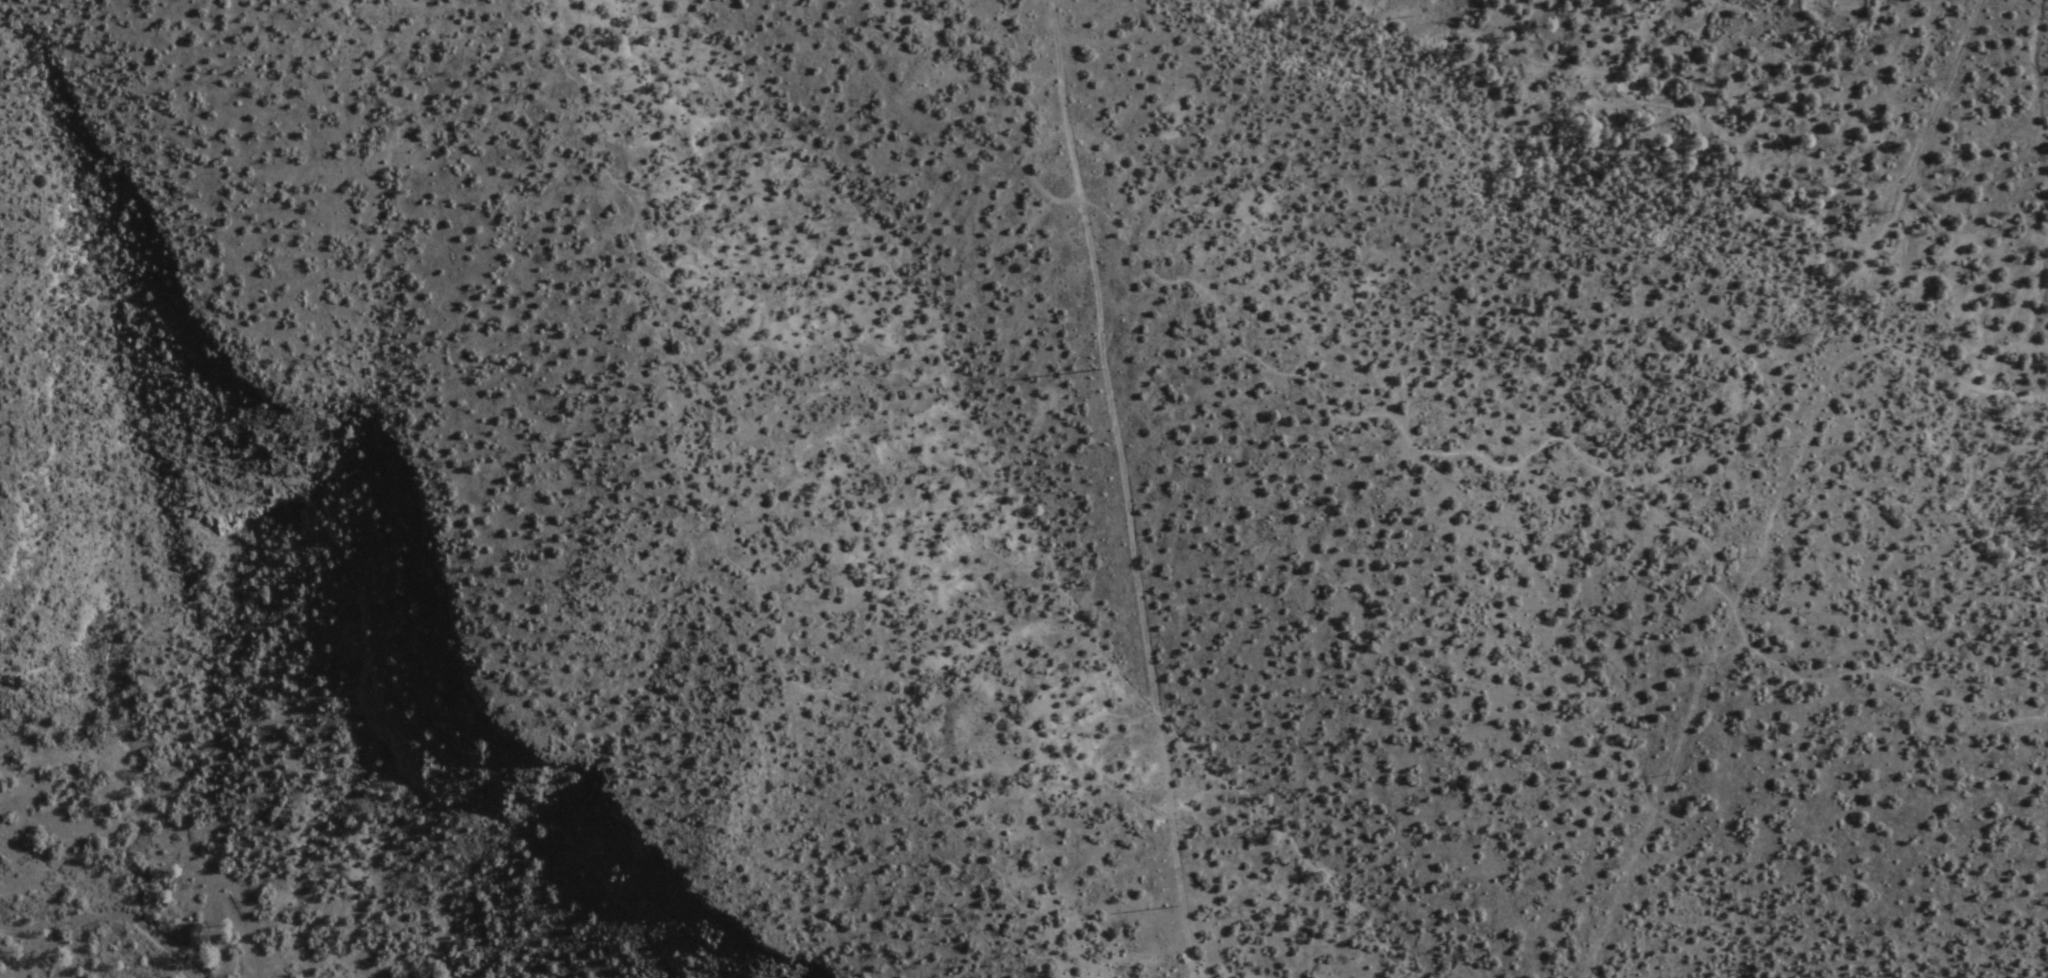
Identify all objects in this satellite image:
road: (1927, 126)
road: (1770, 192)
road: (853, 271)
road: (1888, 345)
road: (2007, 445)
road: (1458, 455)
road: (1783, 472)
road: (1126, 488)
road: (1966, 531)
road: (716, 538)
road: (2014, 626)
road: (1662, 792)

